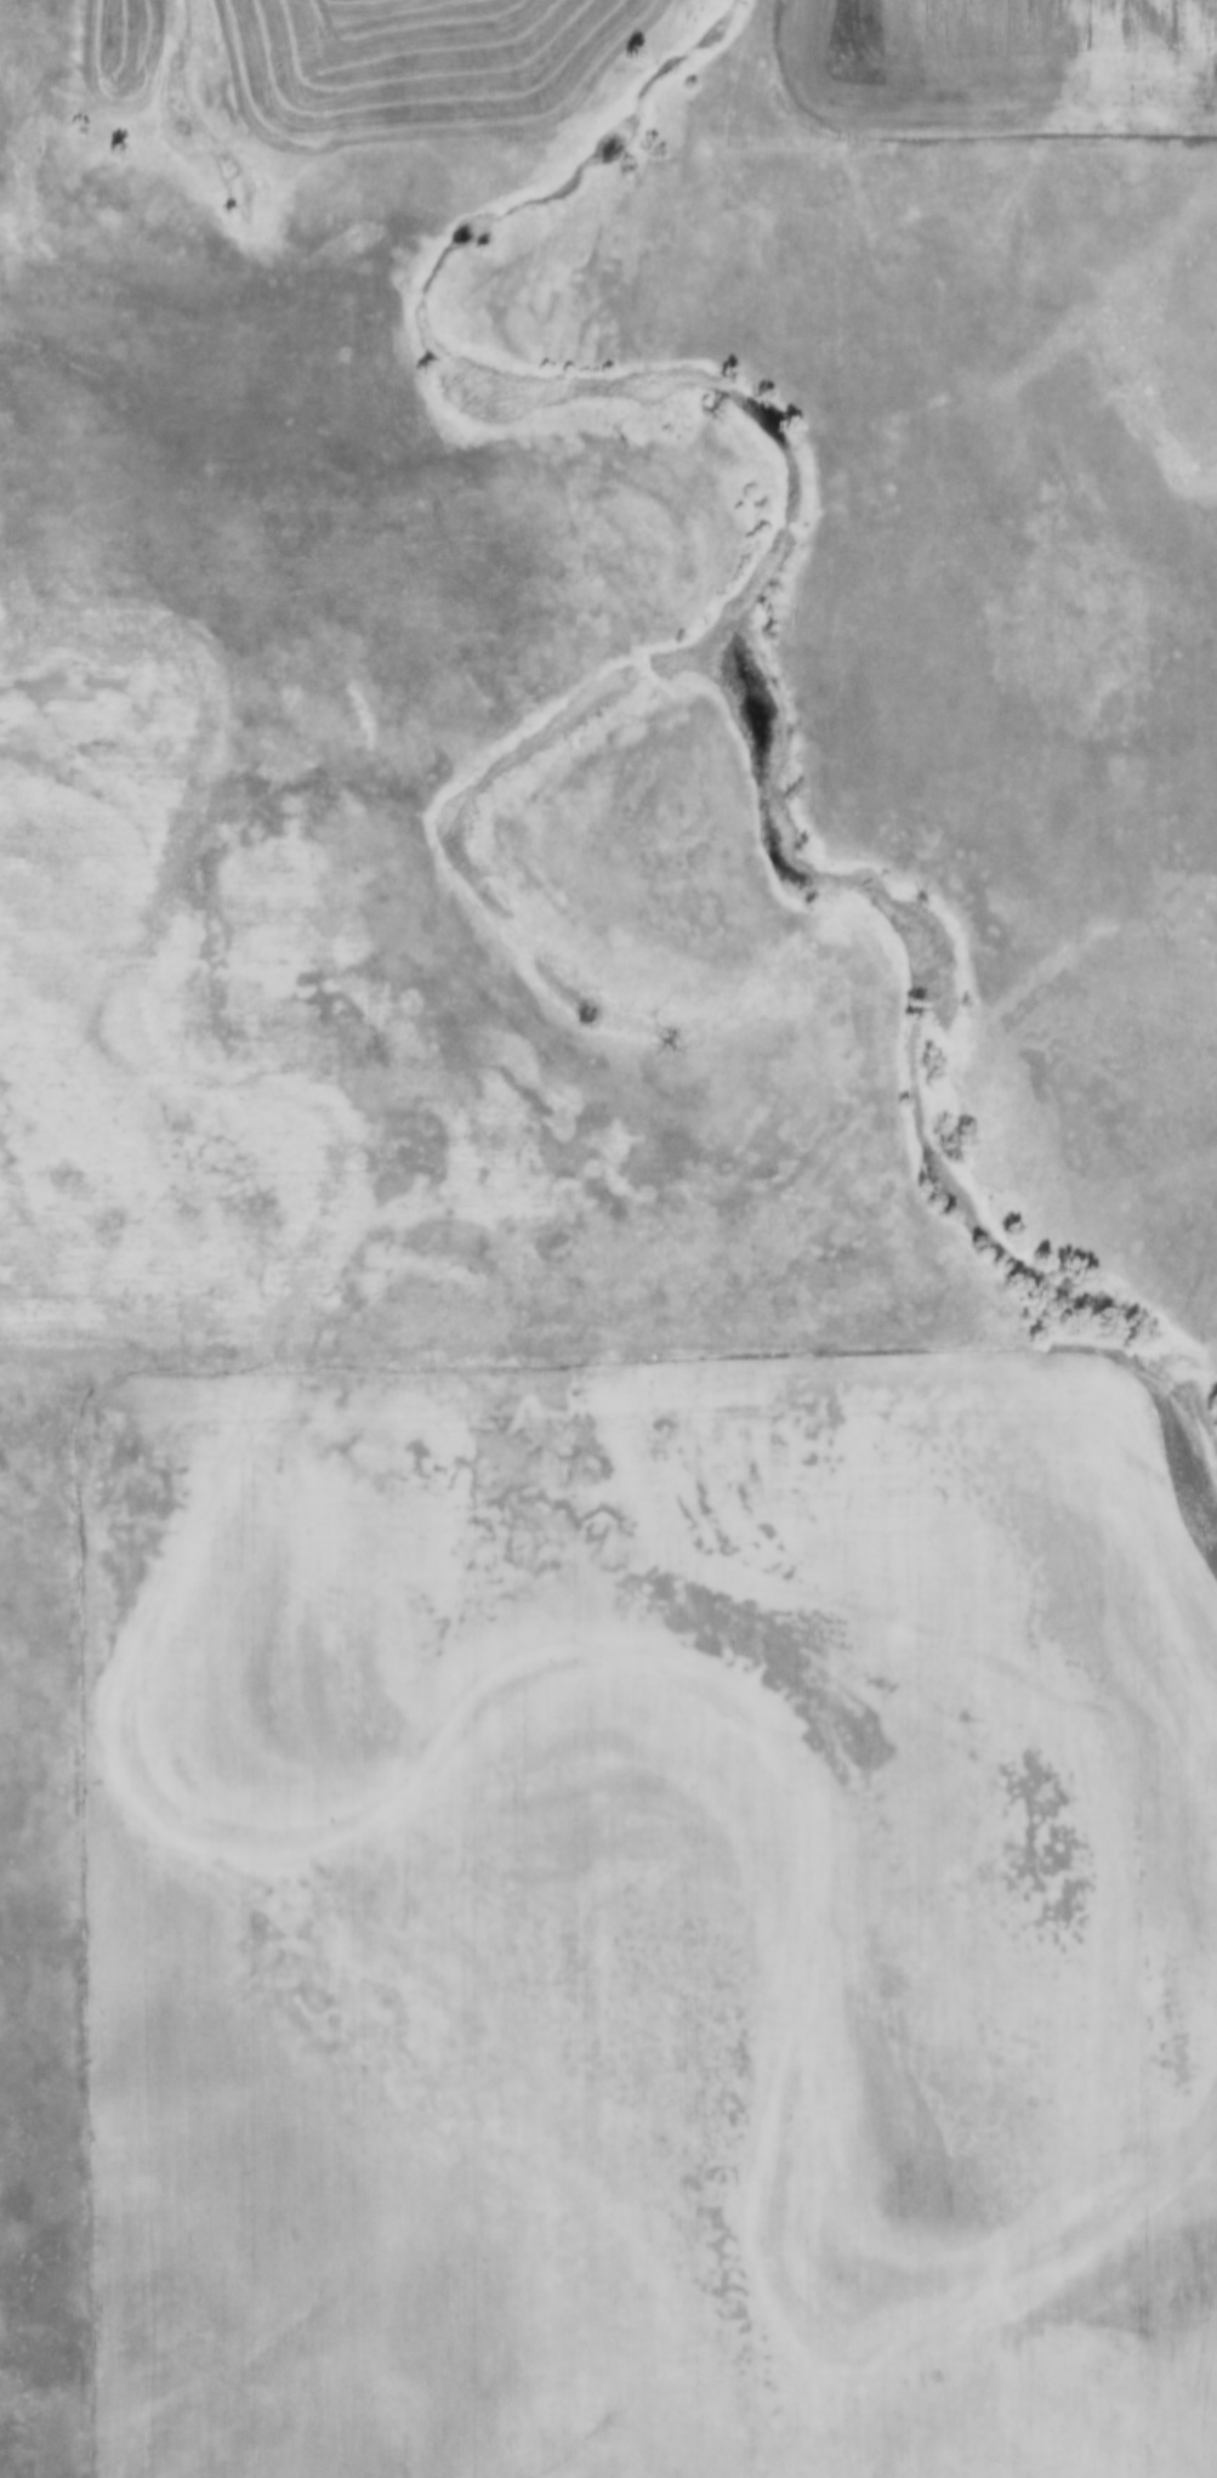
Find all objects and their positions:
road: (603, 1354)

